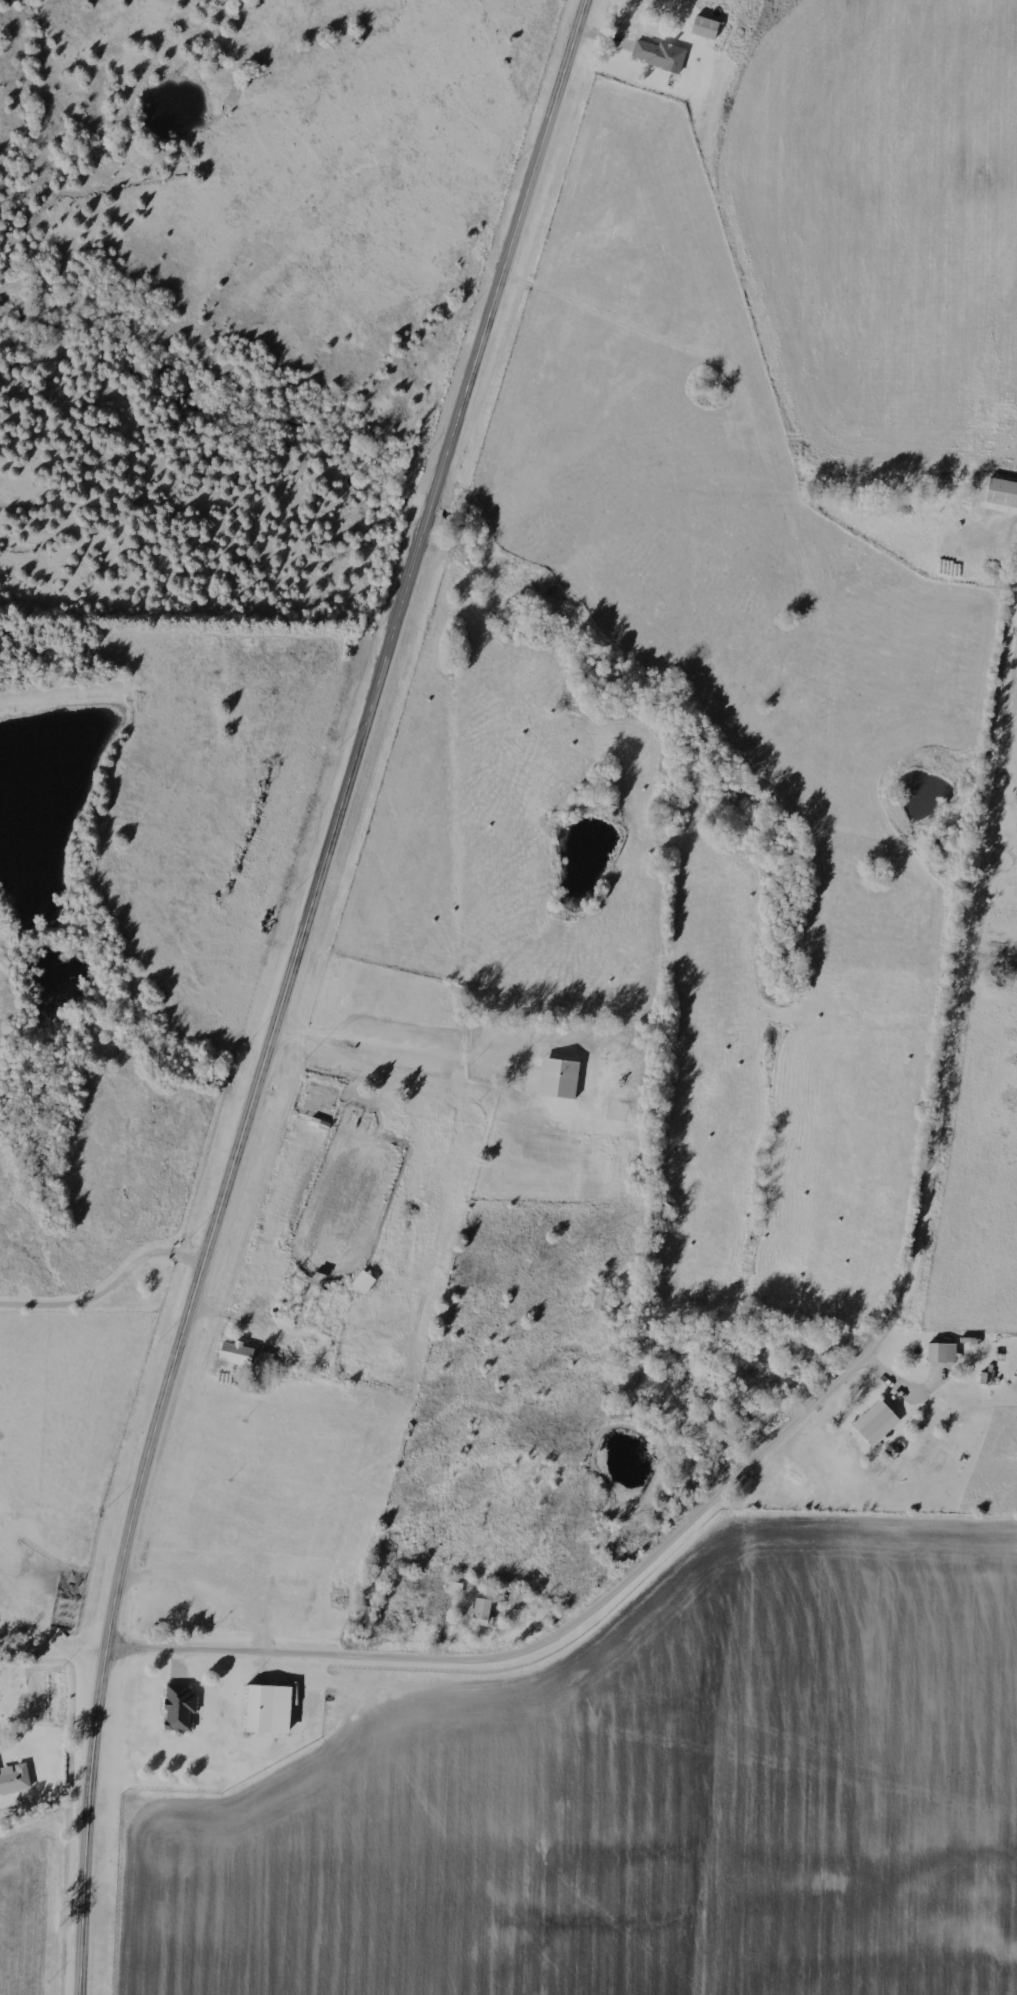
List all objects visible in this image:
building: (705, 27)
building: (660, 55)
building: (1002, 493)
building: (1015, 980)
road: (289, 988)
building: (559, 1078)
building: (364, 1282)
building: (236, 1353)
building: (942, 1353)
building: (262, 1370)
building: (876, 1423)
road: (776, 1448)
building: (483, 1614)
building: (180, 1709)
building: (269, 1710)
building: (14, 1779)

